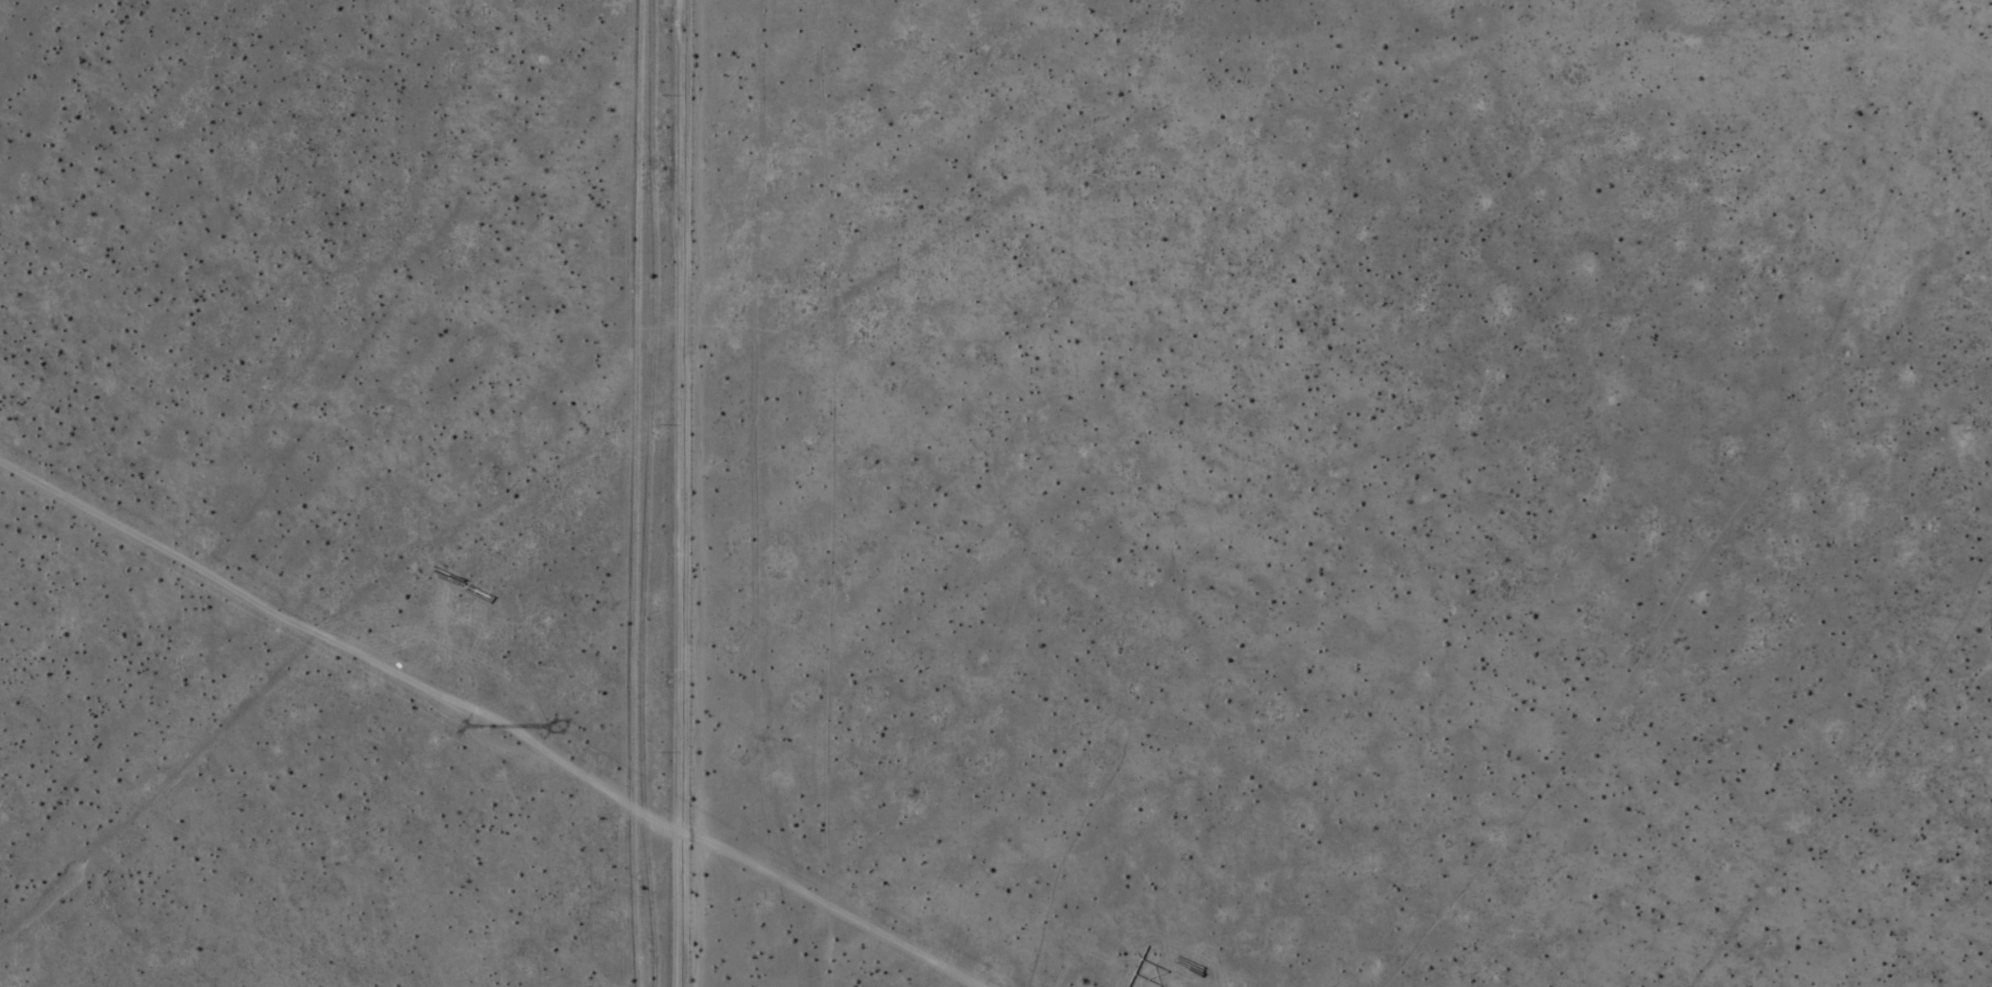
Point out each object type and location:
road: (666, 493)
power tower: (482, 728)

